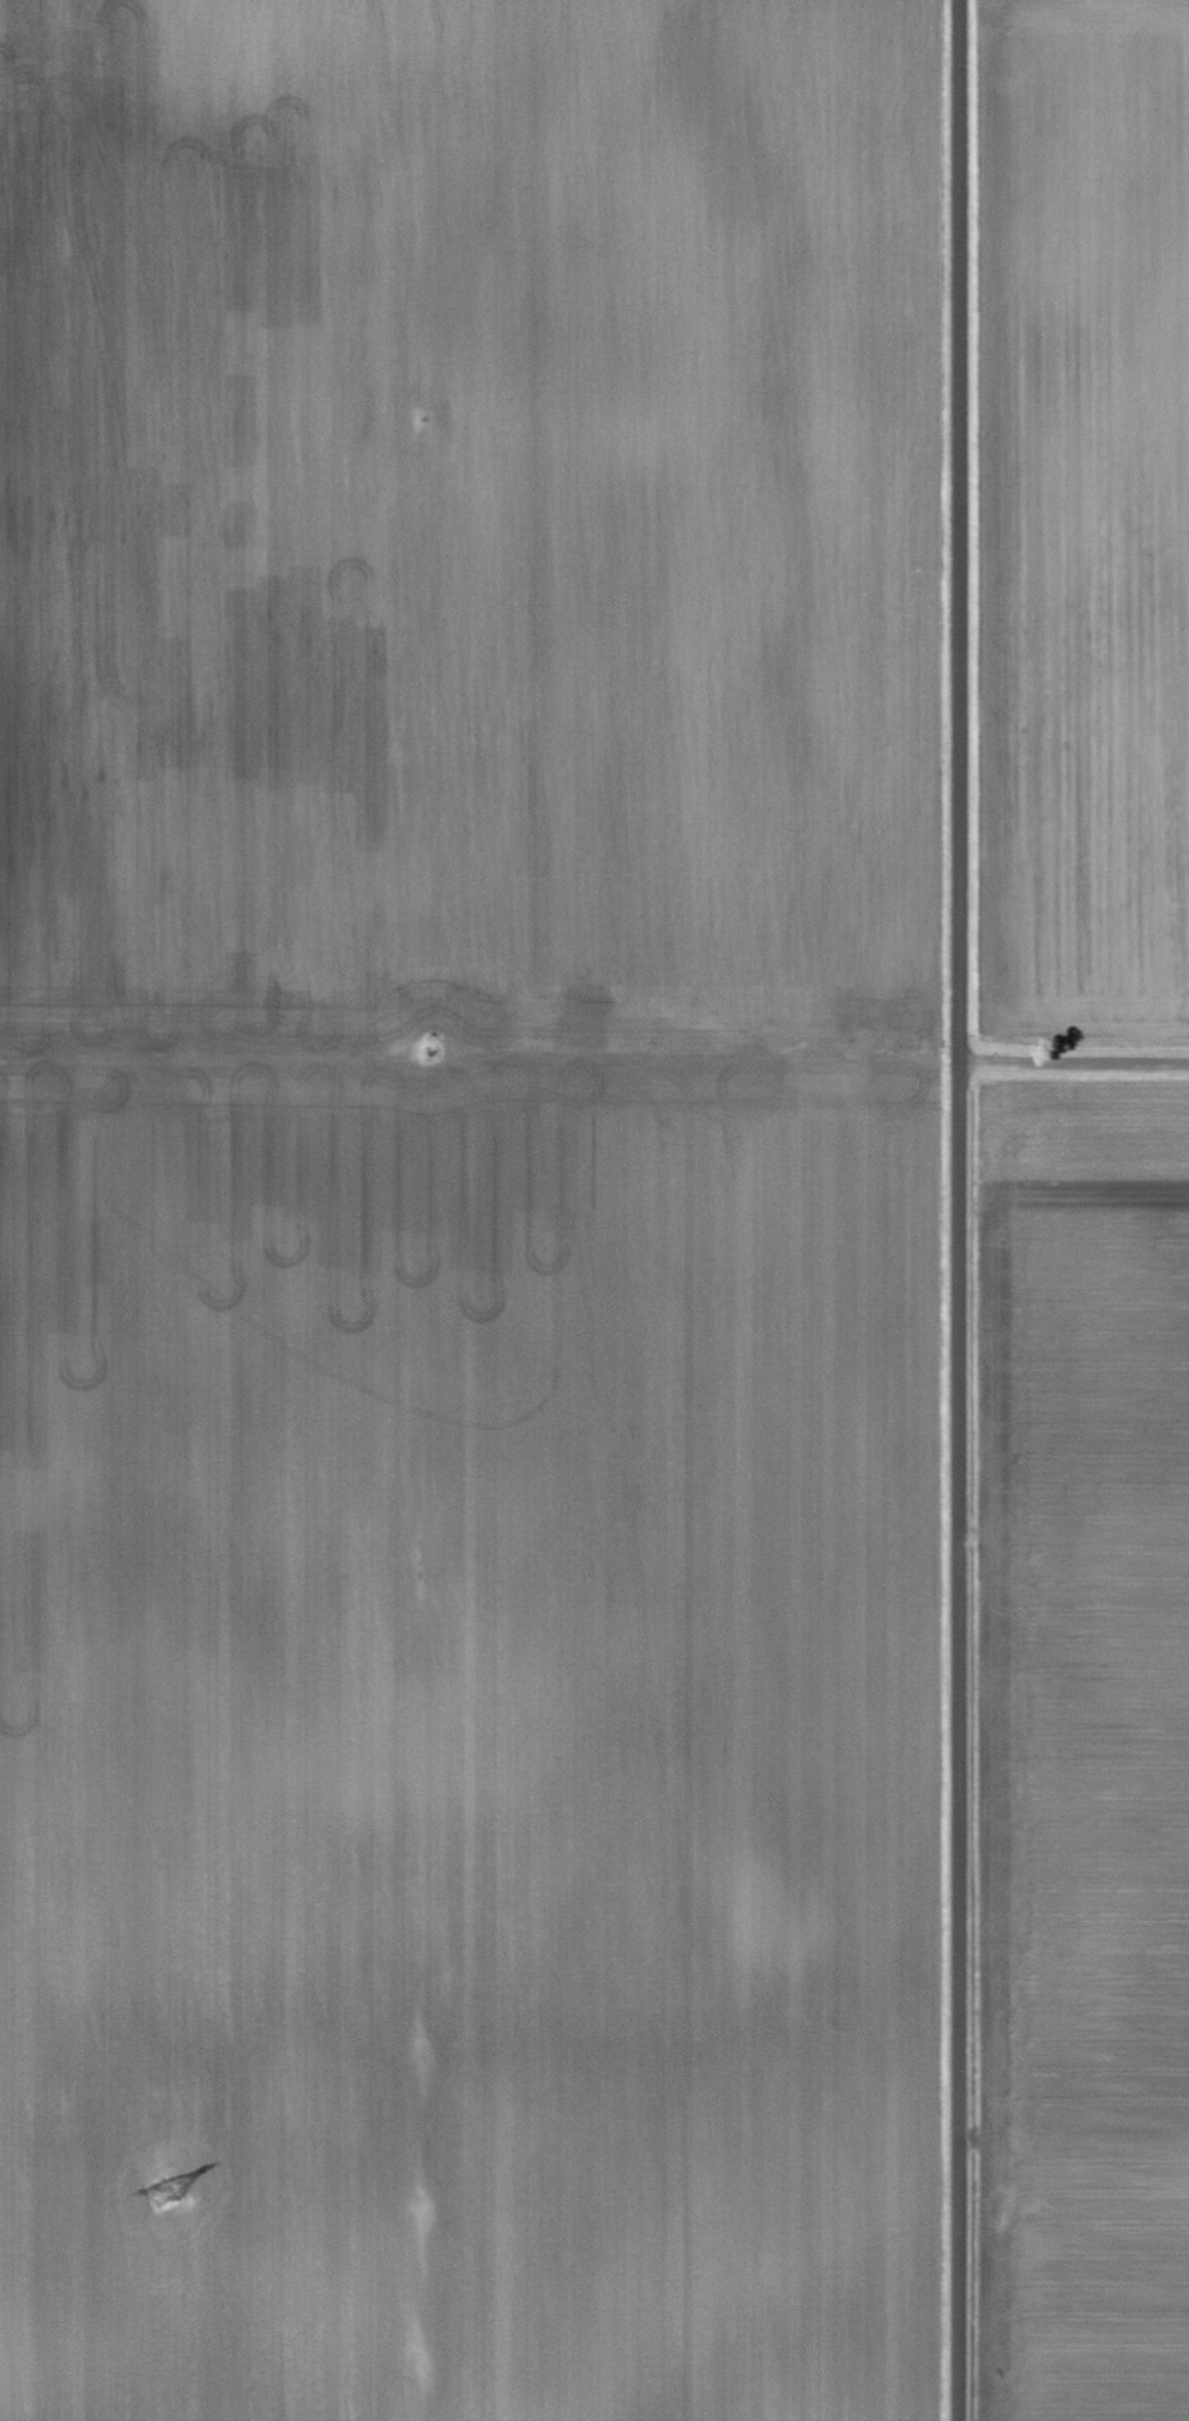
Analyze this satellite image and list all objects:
road: (1074, 1064)
road: (960, 1210)
power tower: (168, 2182)

